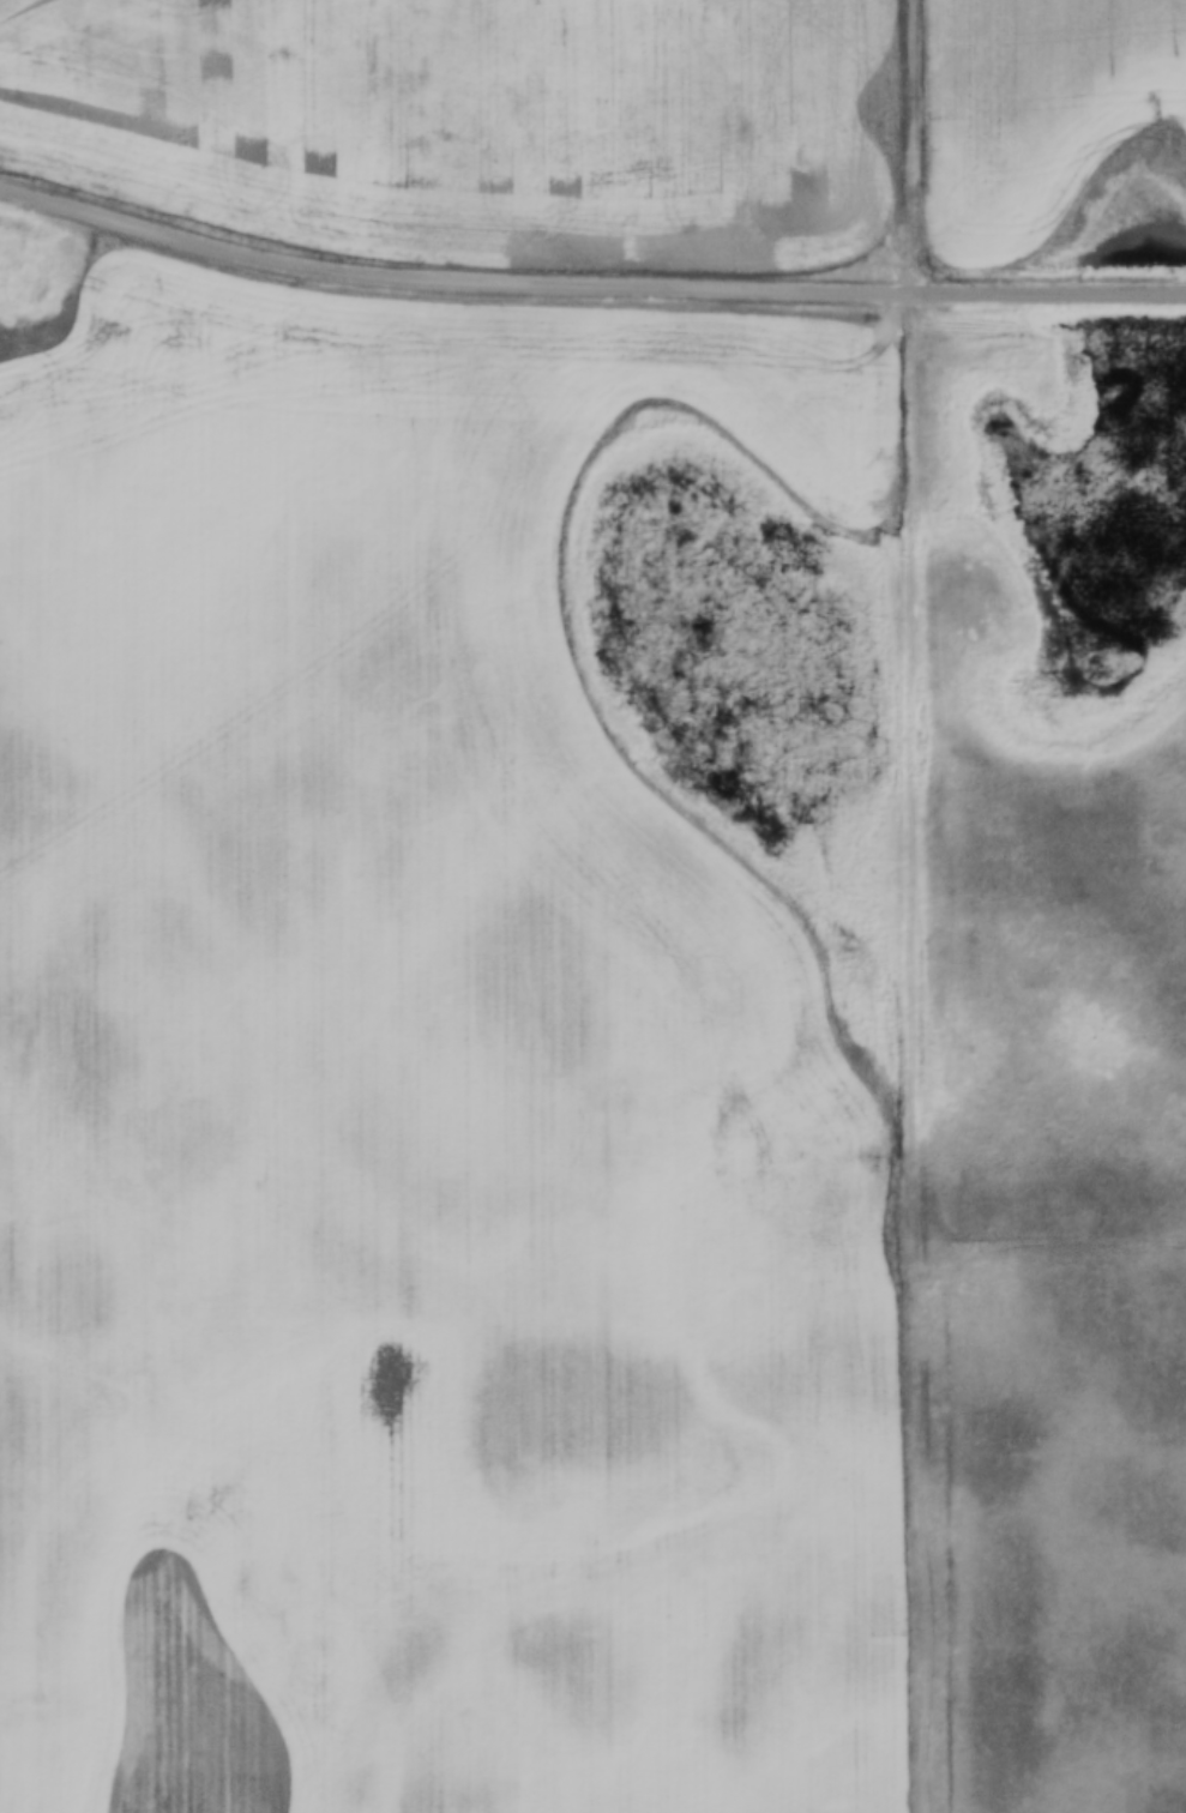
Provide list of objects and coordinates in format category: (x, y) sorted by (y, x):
road: (586, 282)
road: (922, 907)

